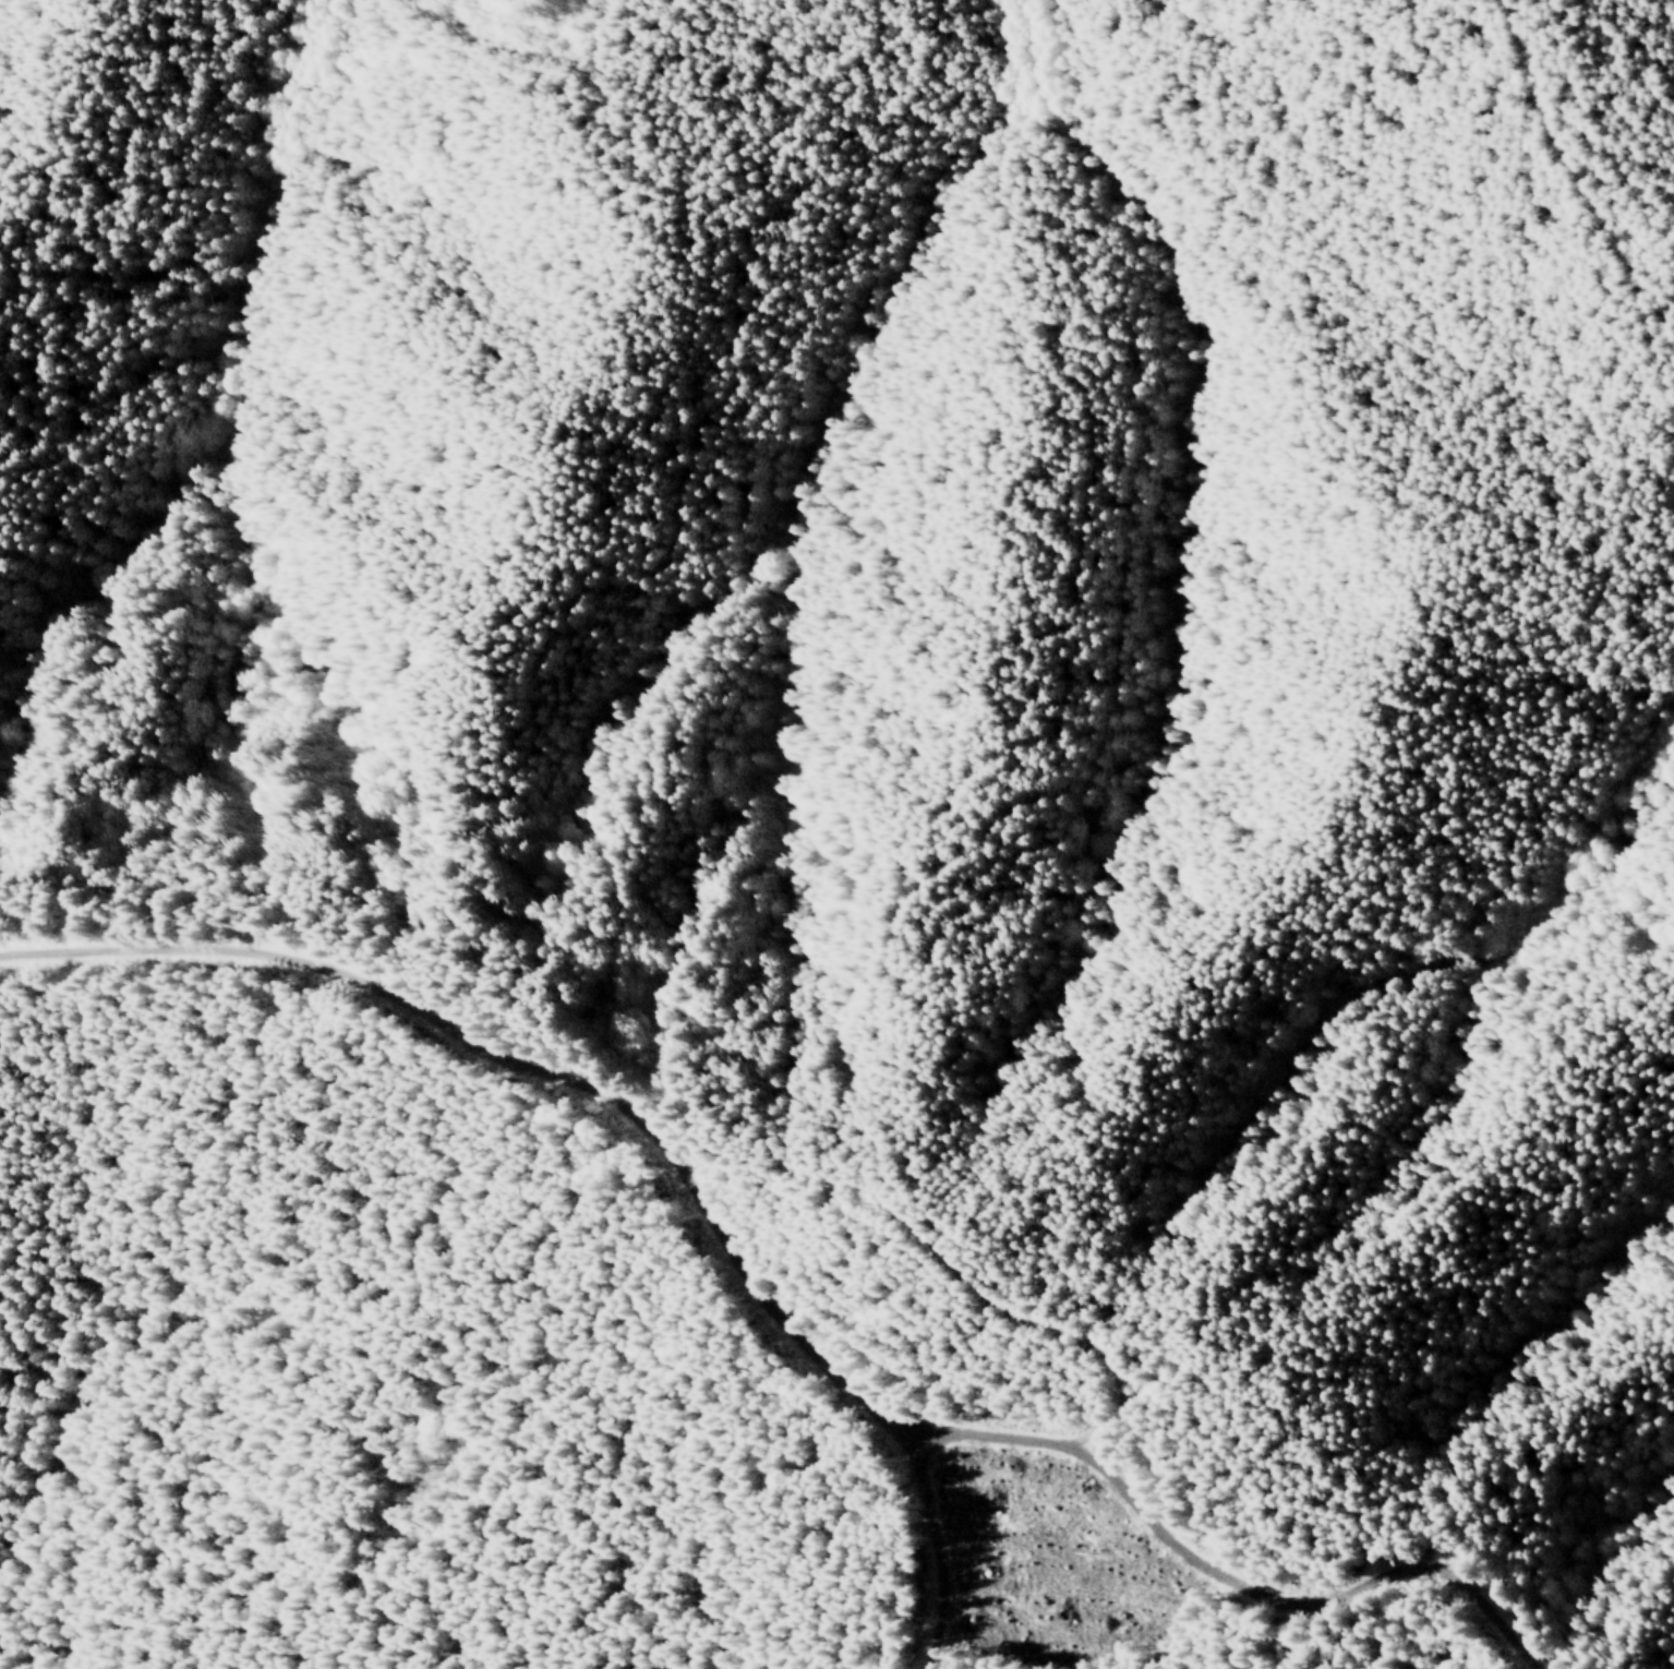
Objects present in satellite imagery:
railway: (1545, 55)

